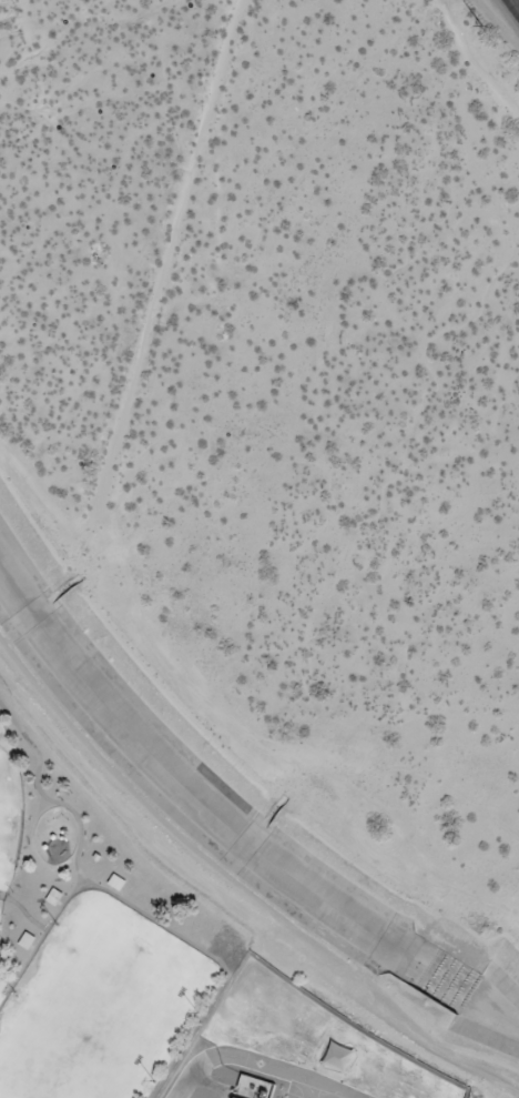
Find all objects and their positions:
road: (515, 4)
road: (44, 797)
park: (9, 810)
road: (61, 864)
park: (1, 907)
road: (24, 913)
road: (157, 921)
park: (92, 938)
road: (192, 1071)

